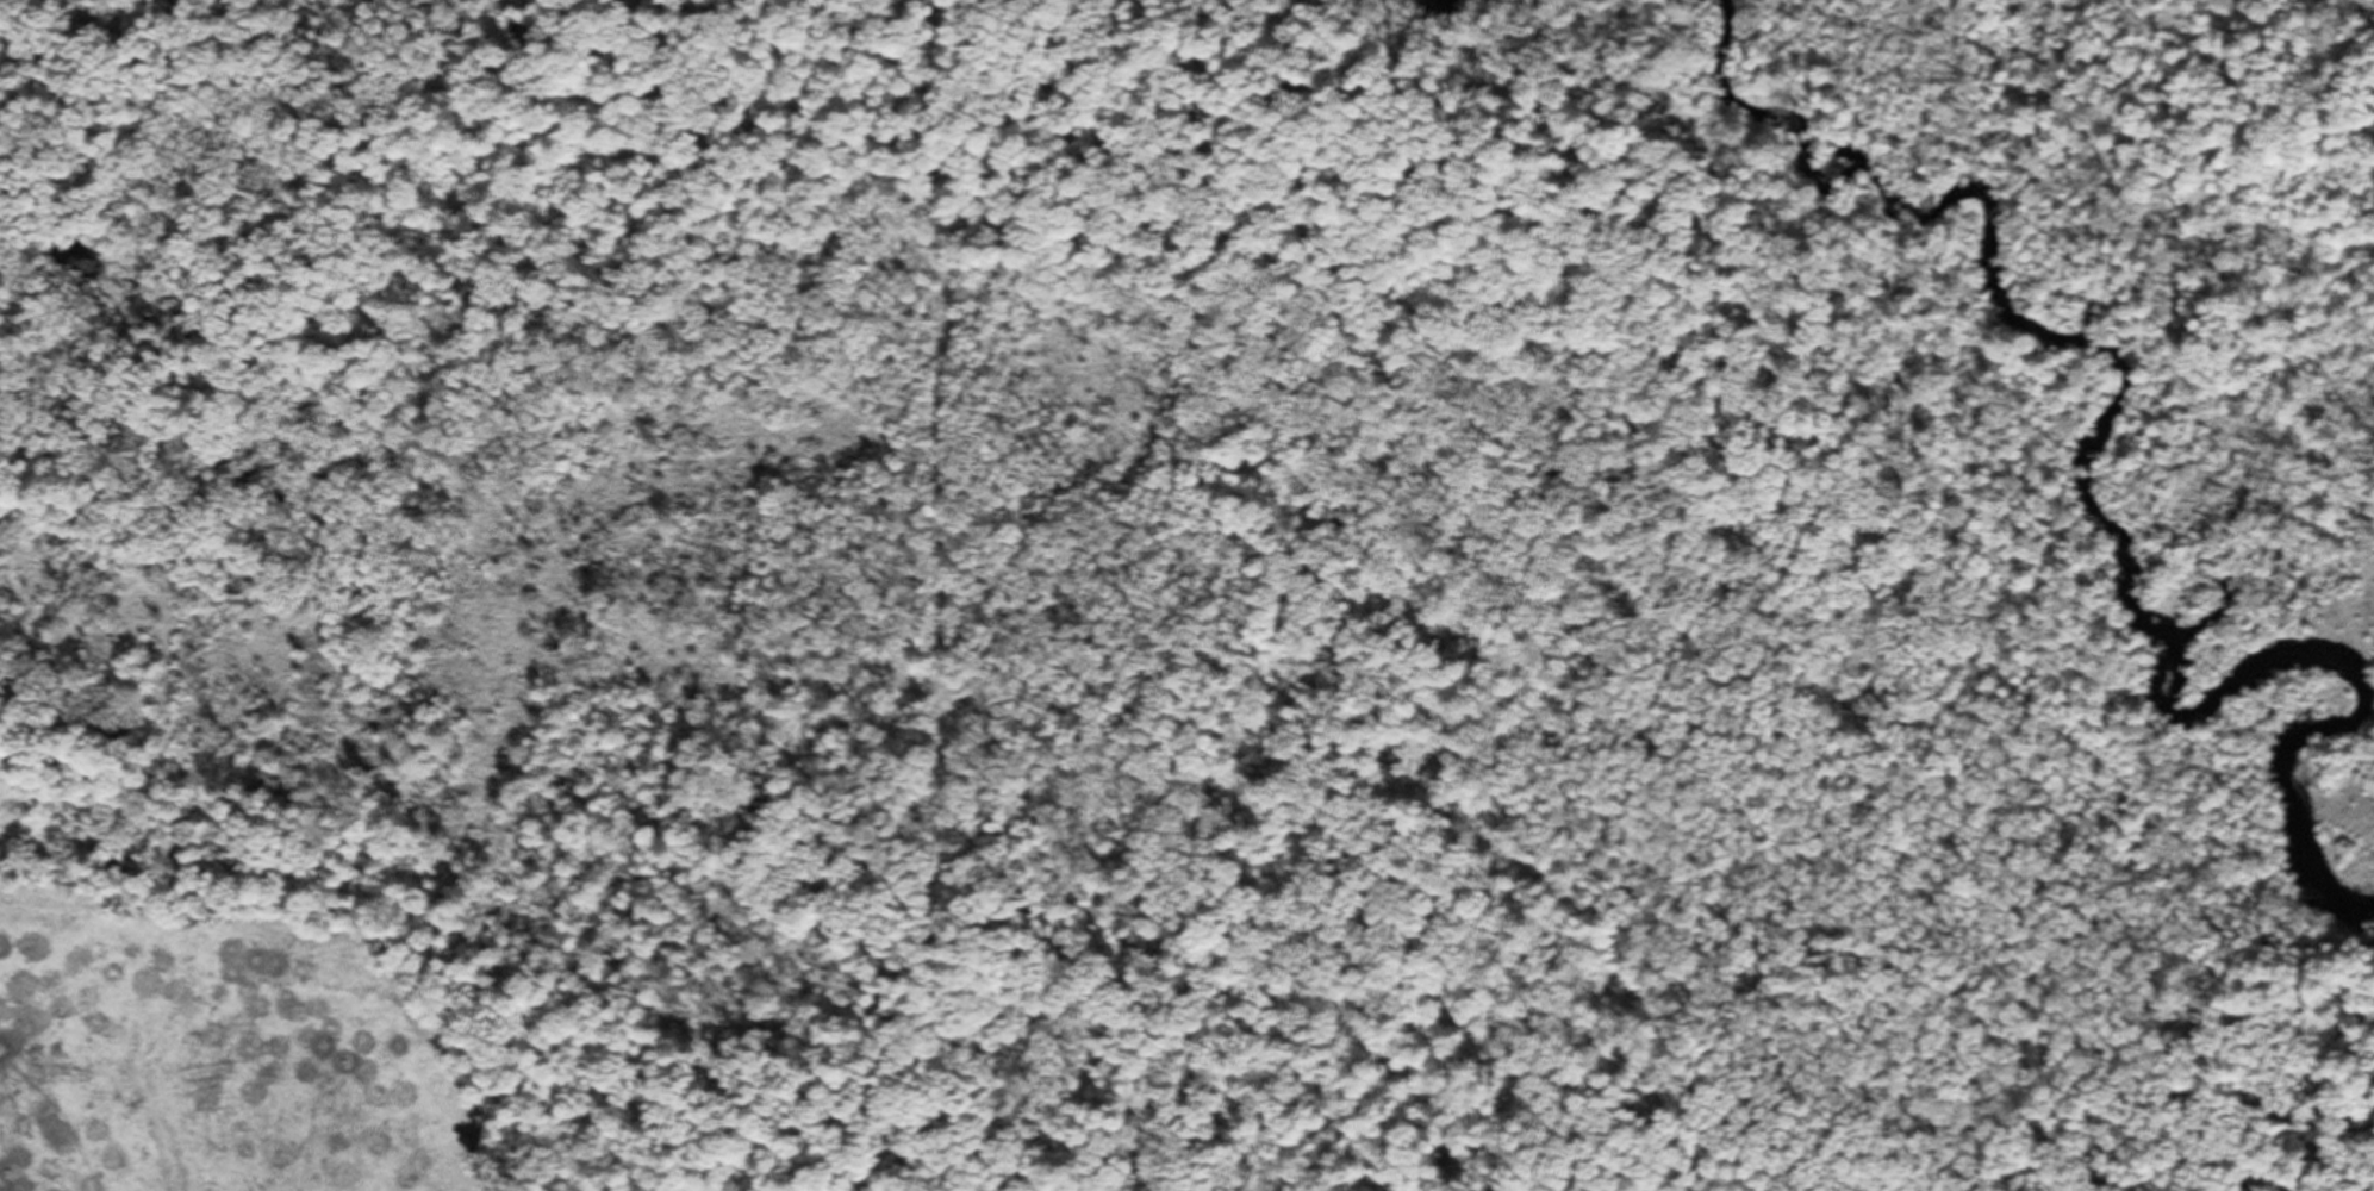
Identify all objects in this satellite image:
river: (2322, 891)

